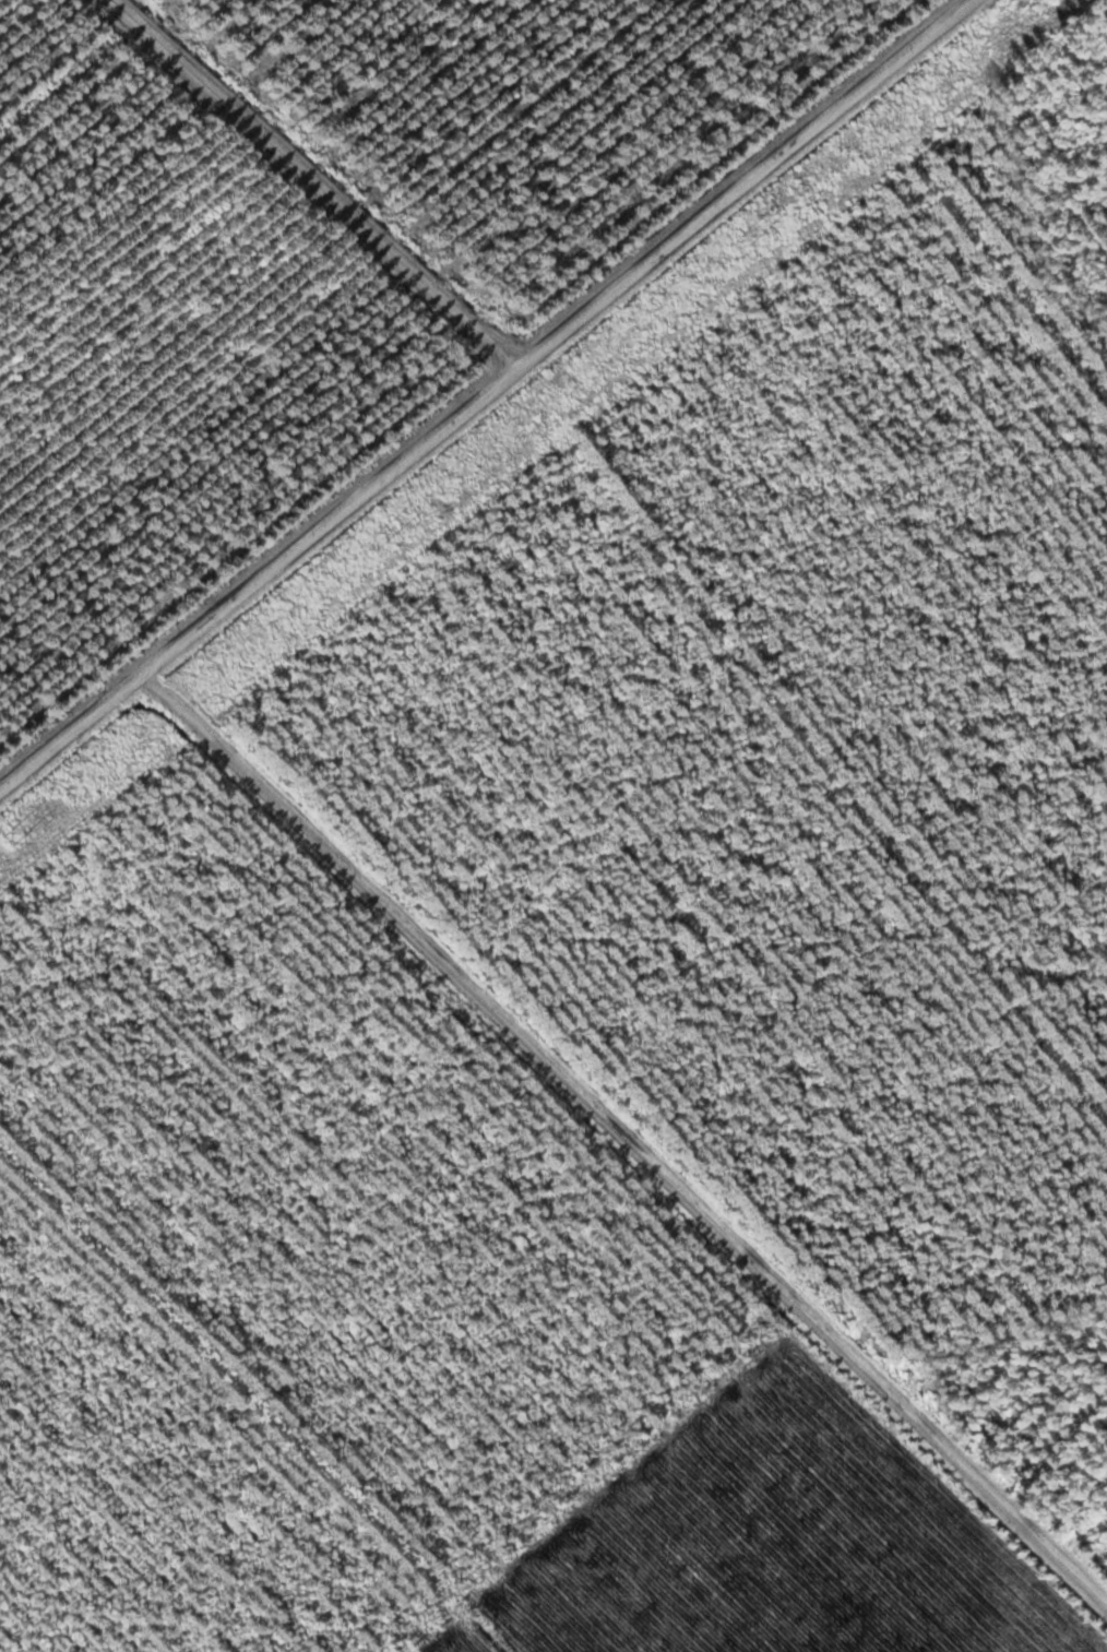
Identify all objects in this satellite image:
road: (316, 183)
power tower: (742, 240)
road: (484, 394)
power tower: (377, 534)
power tower: (10, 832)
road: (622, 1144)

